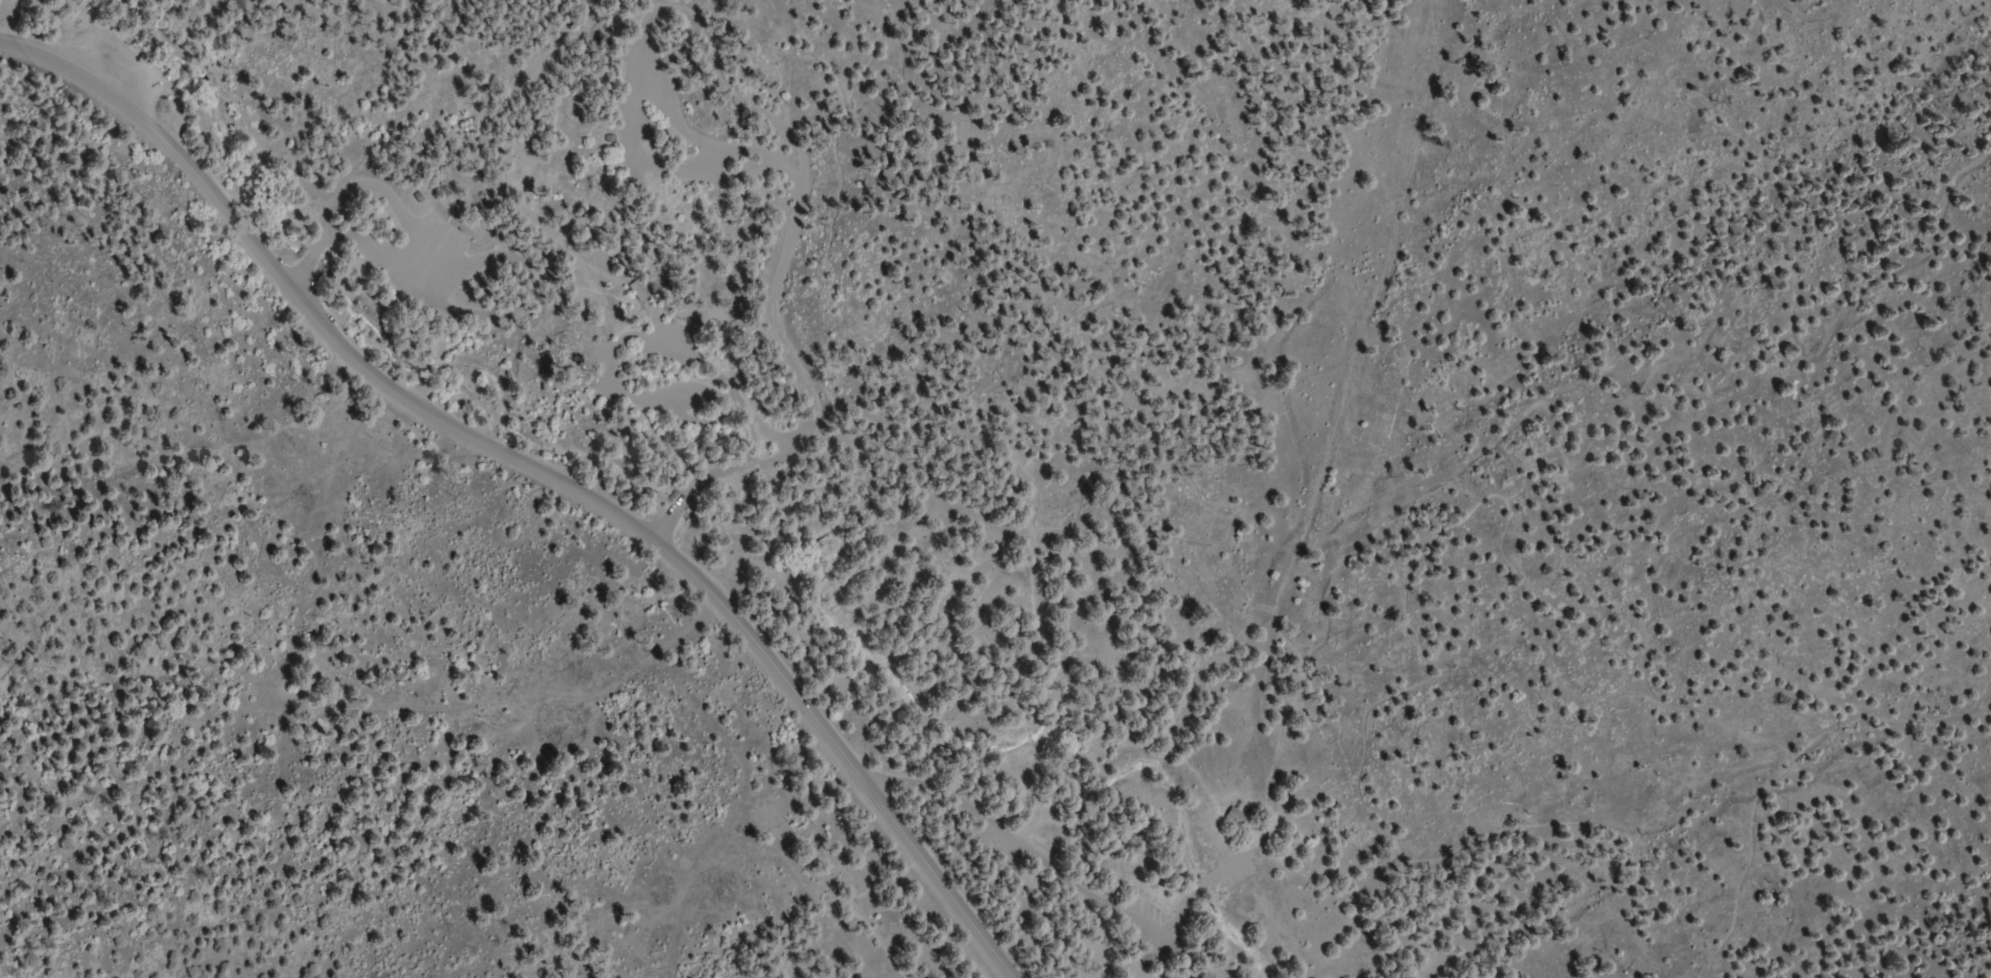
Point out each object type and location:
road: (805, 63)
road: (392, 95)
road: (1384, 246)
road: (438, 422)
road: (1285, 474)
road: (1329, 484)
road: (328, 577)
road: (240, 777)
building: (1237, 816)
road: (1862, 819)
road: (1050, 858)
road: (942, 890)
road: (836, 895)
building: (1146, 957)

